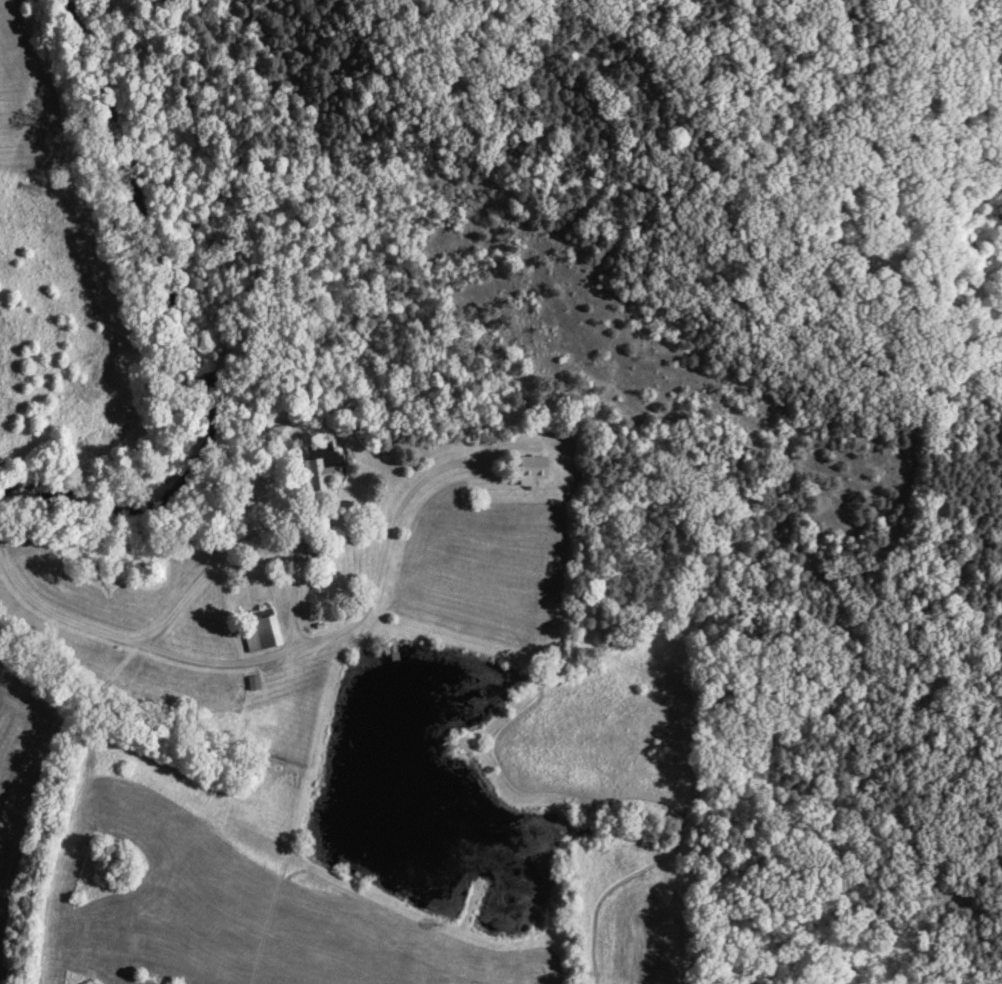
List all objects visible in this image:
building: (277, 434)
building: (320, 467)
building: (531, 471)
road: (223, 554)
road: (298, 570)
building: (259, 631)
road: (275, 658)

